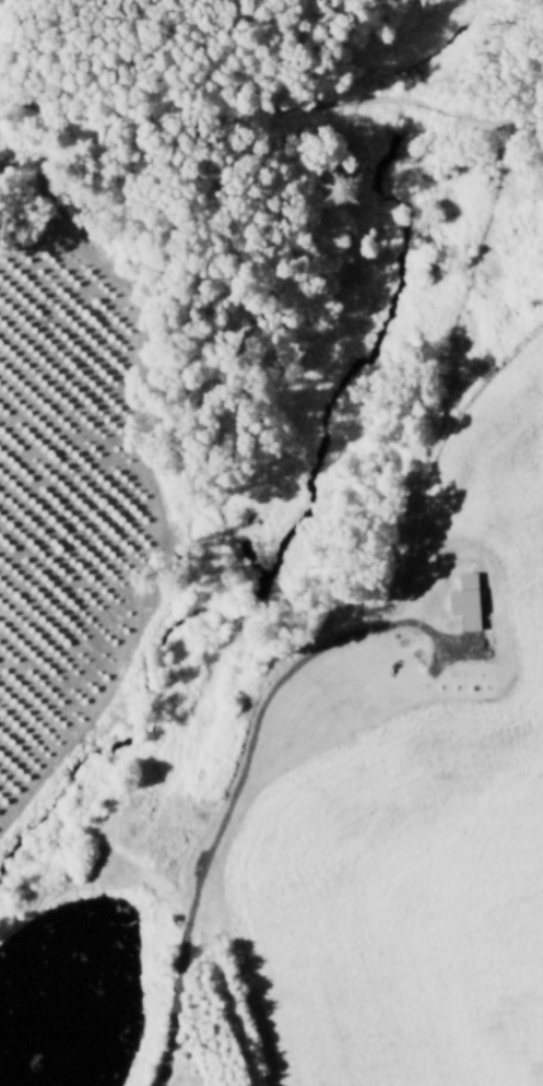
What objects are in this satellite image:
building: (463, 601)

